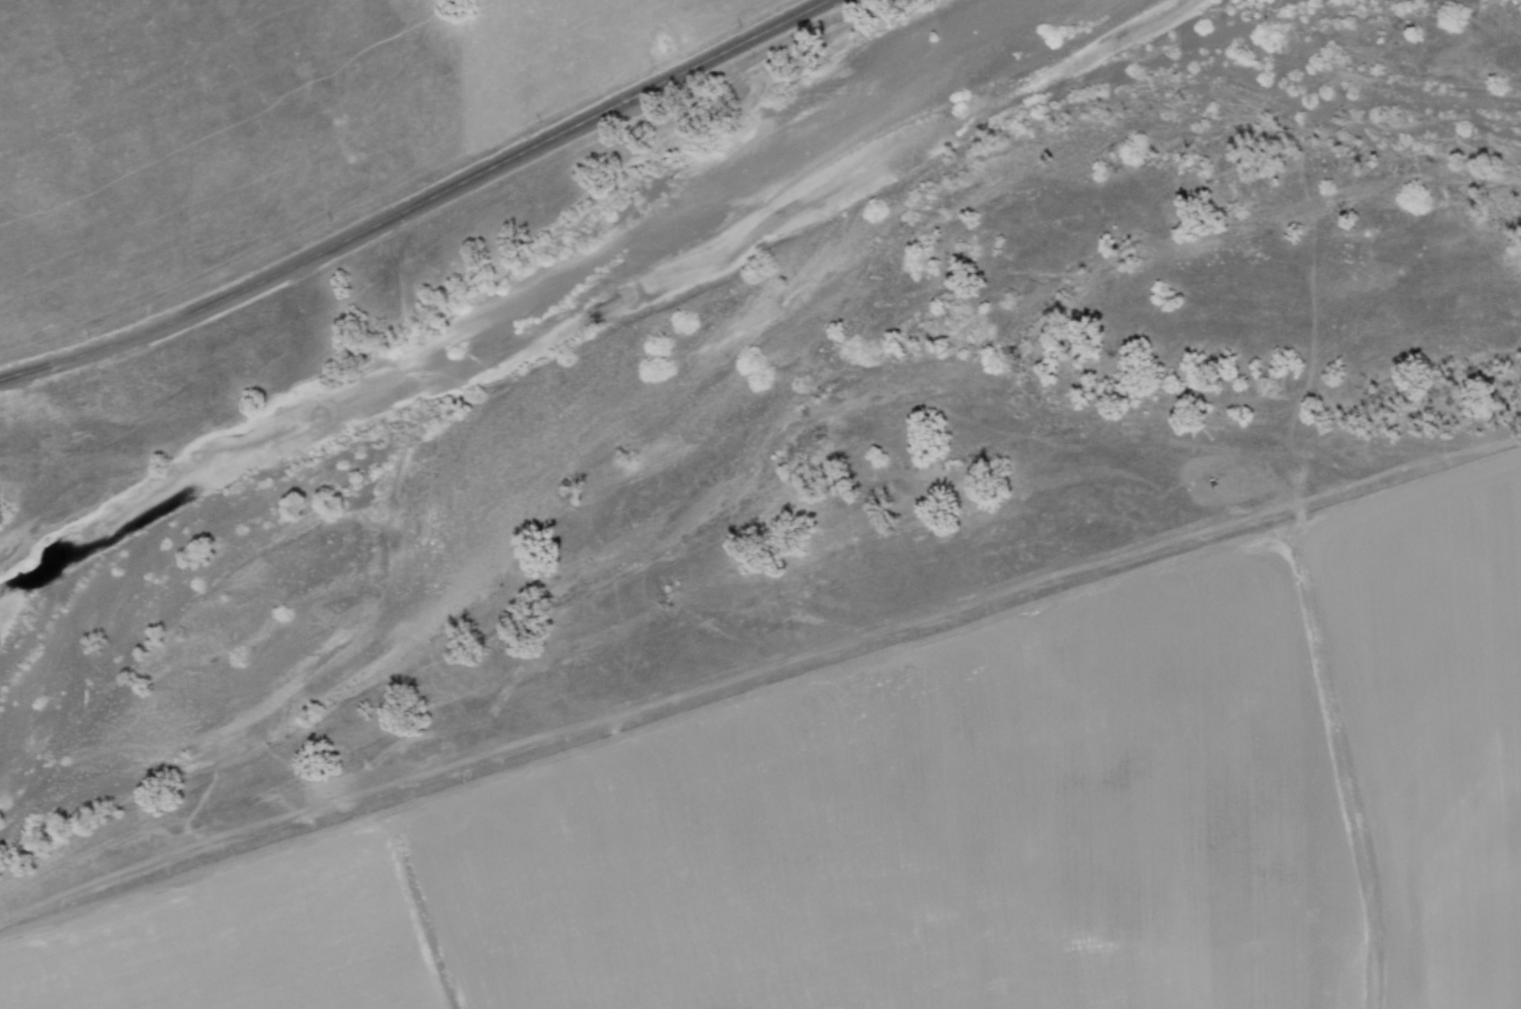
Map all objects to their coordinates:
road: (426, 206)
river: (509, 357)

